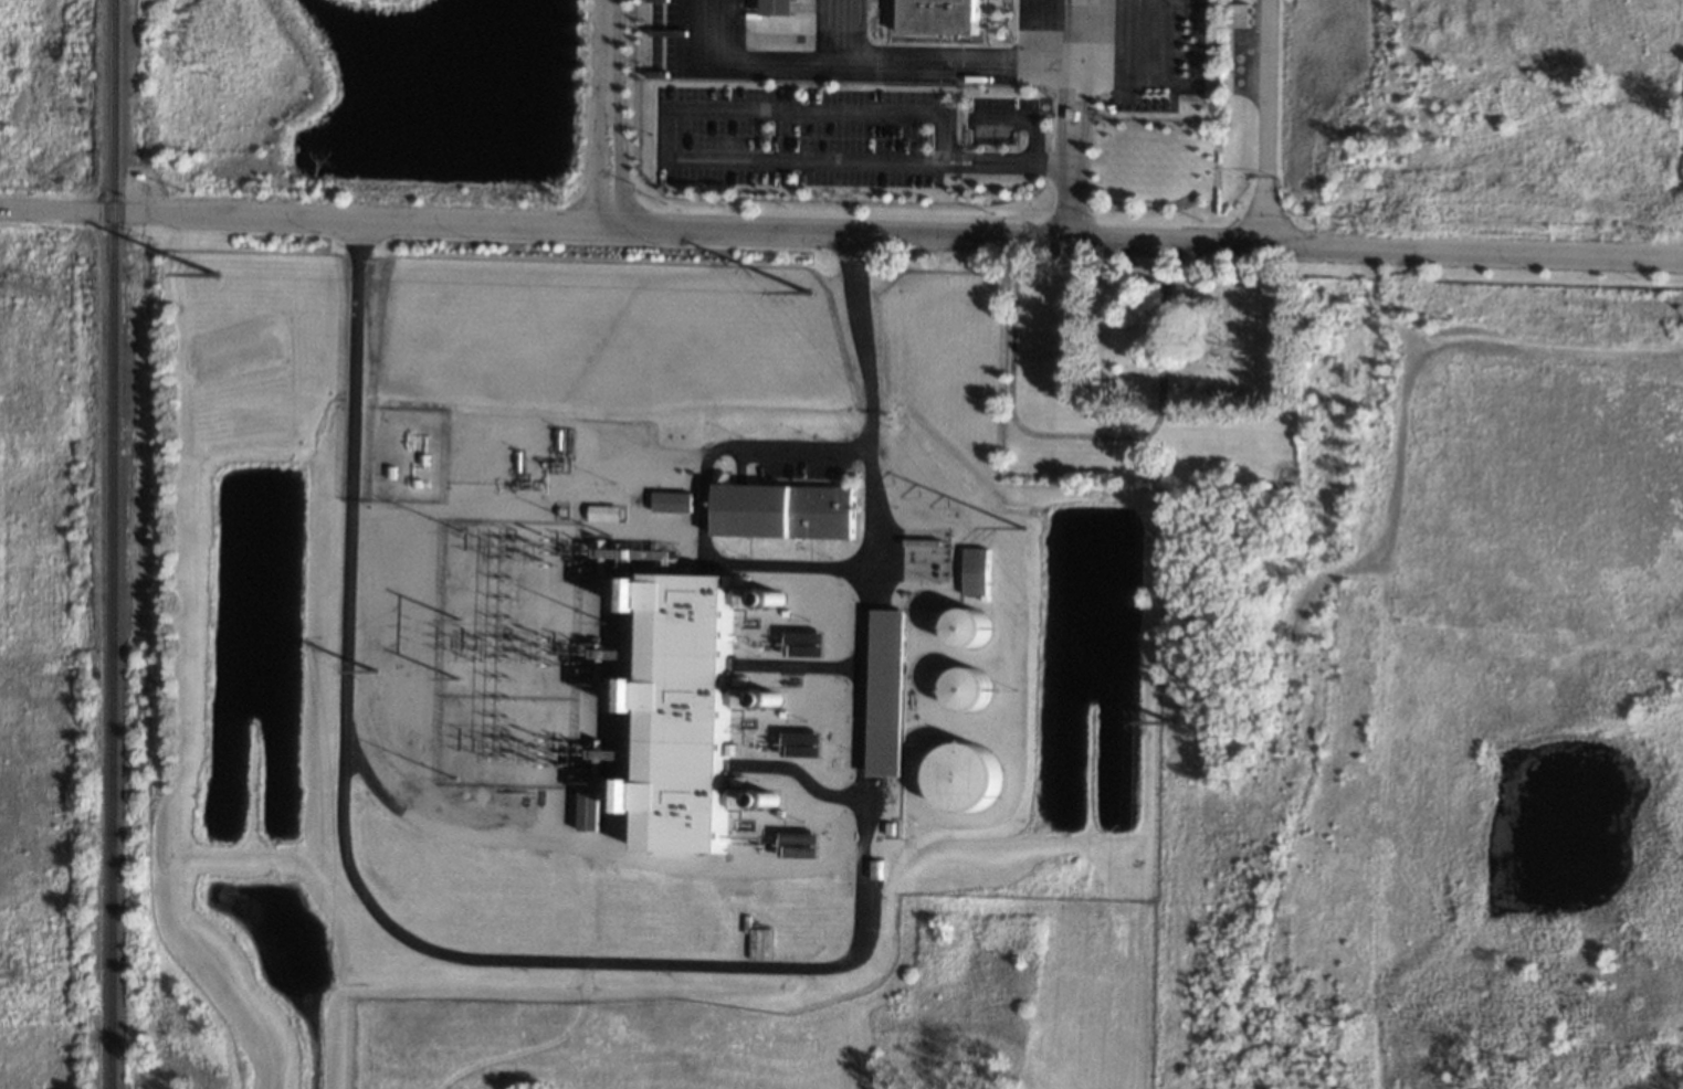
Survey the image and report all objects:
building: (783, 6)
building: (1240, 14)
building: (944, 15)
road: (844, 30)
road: (1044, 31)
road: (853, 61)
road: (1138, 70)
road: (606, 112)
road: (665, 112)
road: (1064, 113)
road: (1025, 119)
road: (1266, 123)
road: (943, 159)
road: (1061, 163)
road: (841, 231)
power tower: (214, 273)
power tower: (807, 288)
park: (1149, 374)
road: (1086, 436)
building: (676, 501)
road: (703, 508)
building: (789, 510)
building: (608, 512)
power tower: (1022, 525)
railway: (114, 544)
building: (979, 571)
building: (753, 596)
chimney: (787, 598)
building: (972, 626)
power tower: (460, 643)
power substation: (511, 655)
power tower: (374, 669)
building: (969, 688)
building: (893, 694)
power plant: (727, 697)
chimney: (787, 702)
building: (694, 713)
power tower: (1170, 720)
building: (967, 776)
building: (637, 794)
building: (747, 797)
chimney: (782, 802)
building: (591, 810)
road: (621, 963)
power tower: (29, 975)

